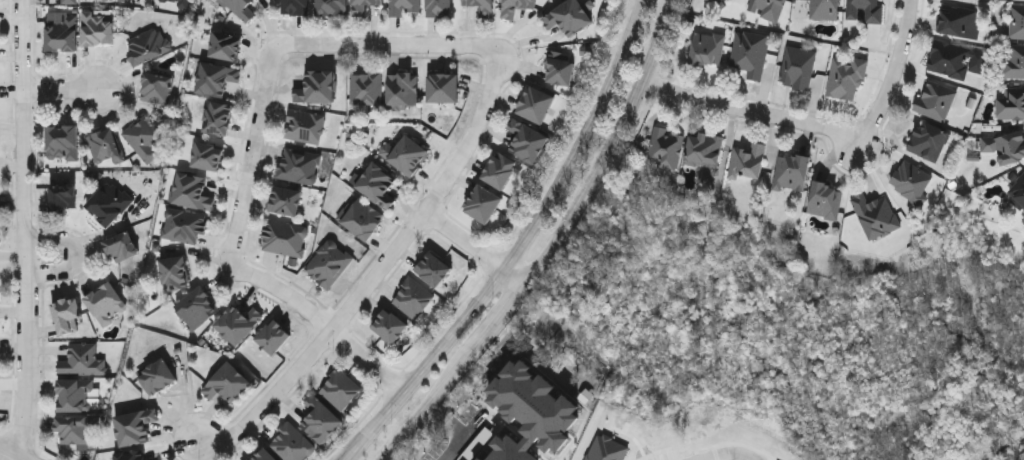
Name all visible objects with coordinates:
building: (70, 1)
building: (179, 2)
building: (363, 6)
building: (404, 6)
building: (483, 6)
building: (296, 7)
building: (332, 7)
building: (516, 7)
building: (440, 8)
building: (766, 8)
building: (798, 8)
building: (241, 9)
building: (825, 9)
building: (864, 9)
building: (569, 17)
building: (956, 20)
building: (1016, 21)
building: (98, 28)
building: (62, 32)
building: (149, 45)
building: (226, 46)
road: (389, 46)
building: (707, 48)
building: (749, 53)
building: (954, 58)
building: (1013, 62)
building: (561, 67)
building: (797, 67)
road: (894, 76)
building: (845, 77)
building: (216, 78)
building: (157, 87)
building: (318, 87)
building: (444, 87)
building: (366, 88)
building: (403, 89)
road: (66, 91)
building: (934, 99)
building: (1010, 101)
building: (536, 105)
building: (218, 118)
road: (759, 119)
building: (305, 126)
building: (144, 137)
building: (927, 140)
building: (528, 141)
building: (63, 142)
building: (104, 144)
building: (1004, 146)
building: (664, 148)
building: (703, 150)
road: (625, 151)
road: (258, 152)
building: (405, 154)
building: (209, 156)
building: (746, 162)
building: (299, 165)
building: (500, 170)
building: (791, 172)
building: (910, 181)
building: (377, 185)
building: (1017, 190)
building: (192, 191)
building: (64, 198)
building: (824, 200)
building: (287, 201)
building: (110, 203)
building: (483, 203)
building: (874, 215)
building: (362, 218)
building: (184, 225)
road: (25, 230)
building: (286, 237)
road: (518, 241)
building: (122, 246)
road: (479, 249)
road: (80, 260)
building: (330, 263)
building: (434, 269)
road: (382, 270)
building: (174, 273)
building: (413, 298)
building: (107, 303)
building: (197, 308)
building: (67, 315)
road: (325, 317)
road: (501, 322)
building: (239, 324)
building: (390, 325)
building: (274, 337)
building: (84, 360)
building: (158, 377)
building: (227, 383)
building: (340, 389)
building: (77, 395)
road: (185, 399)
road: (426, 408)
building: (321, 420)
building: (135, 427)
building: (76, 428)
road: (460, 430)
building: (291, 443)
building: (511, 450)
road: (722, 451)
road: (14, 453)
building: (131, 455)
building: (264, 455)

